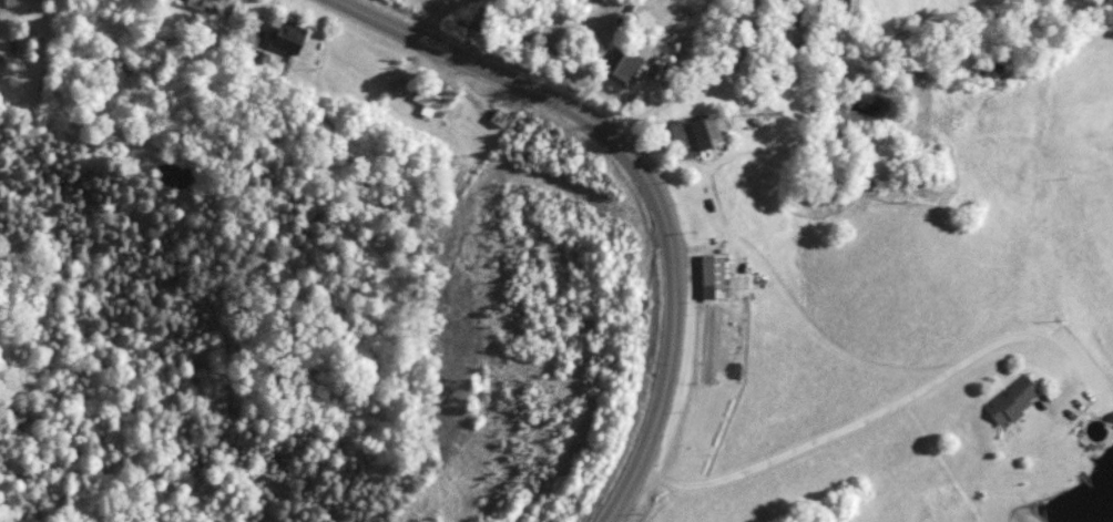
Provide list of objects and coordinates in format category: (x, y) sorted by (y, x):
building: (8, 3)
building: (212, 4)
road: (268, 7)
building: (843, 9)
building: (282, 33)
building: (165, 55)
road: (859, 58)
building: (617, 69)
building: (401, 89)
building: (446, 93)
building: (428, 102)
building: (501, 117)
building: (690, 134)
road: (641, 181)
building: (707, 275)
building: (1010, 401)
road: (878, 412)

